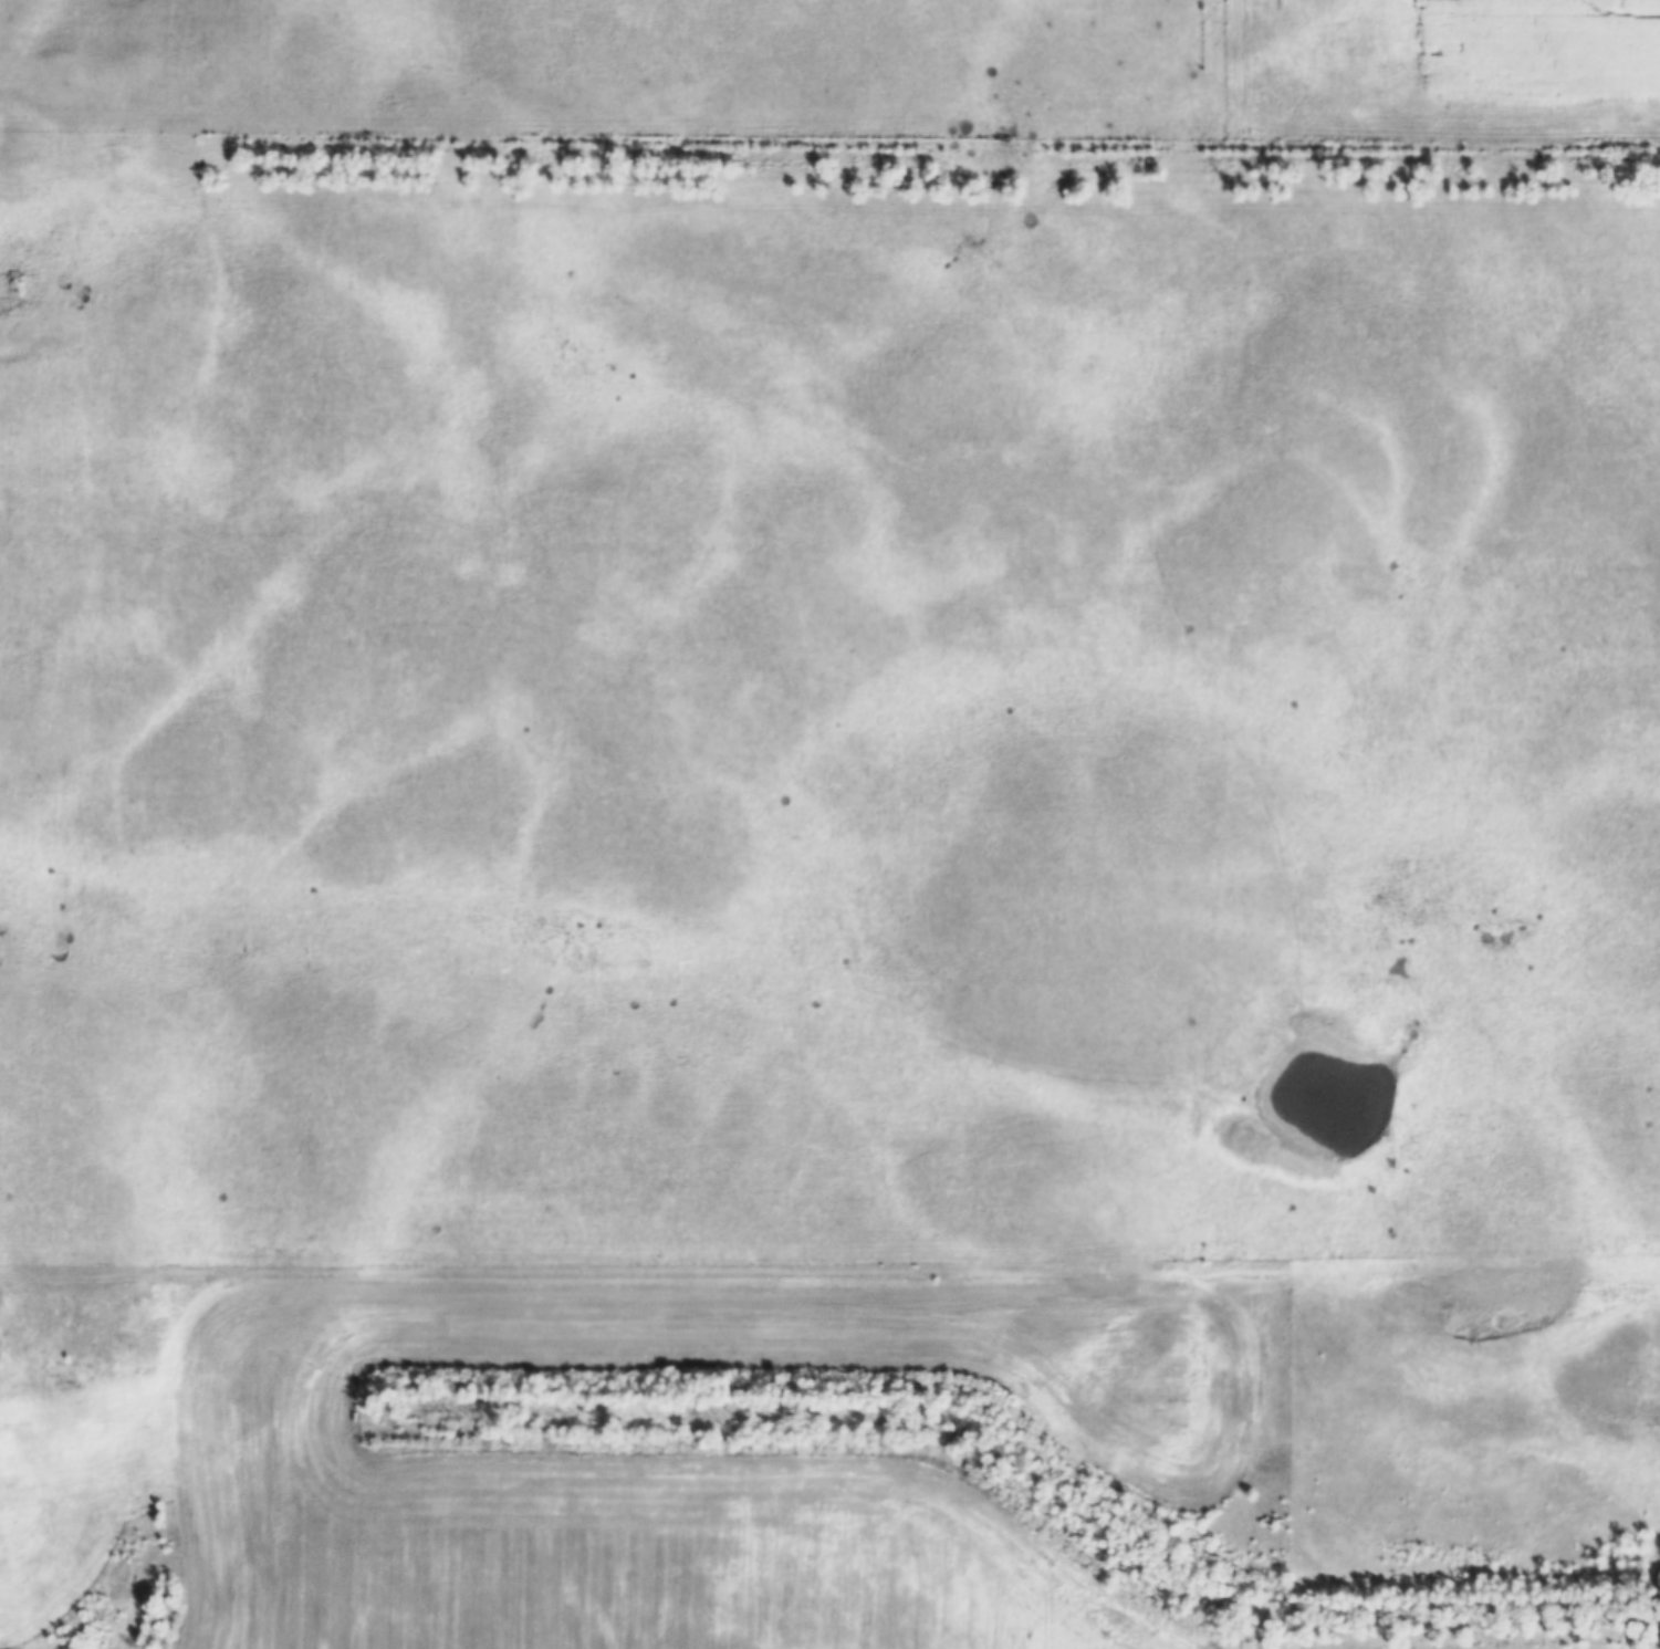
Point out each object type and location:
road: (829, 1260)

